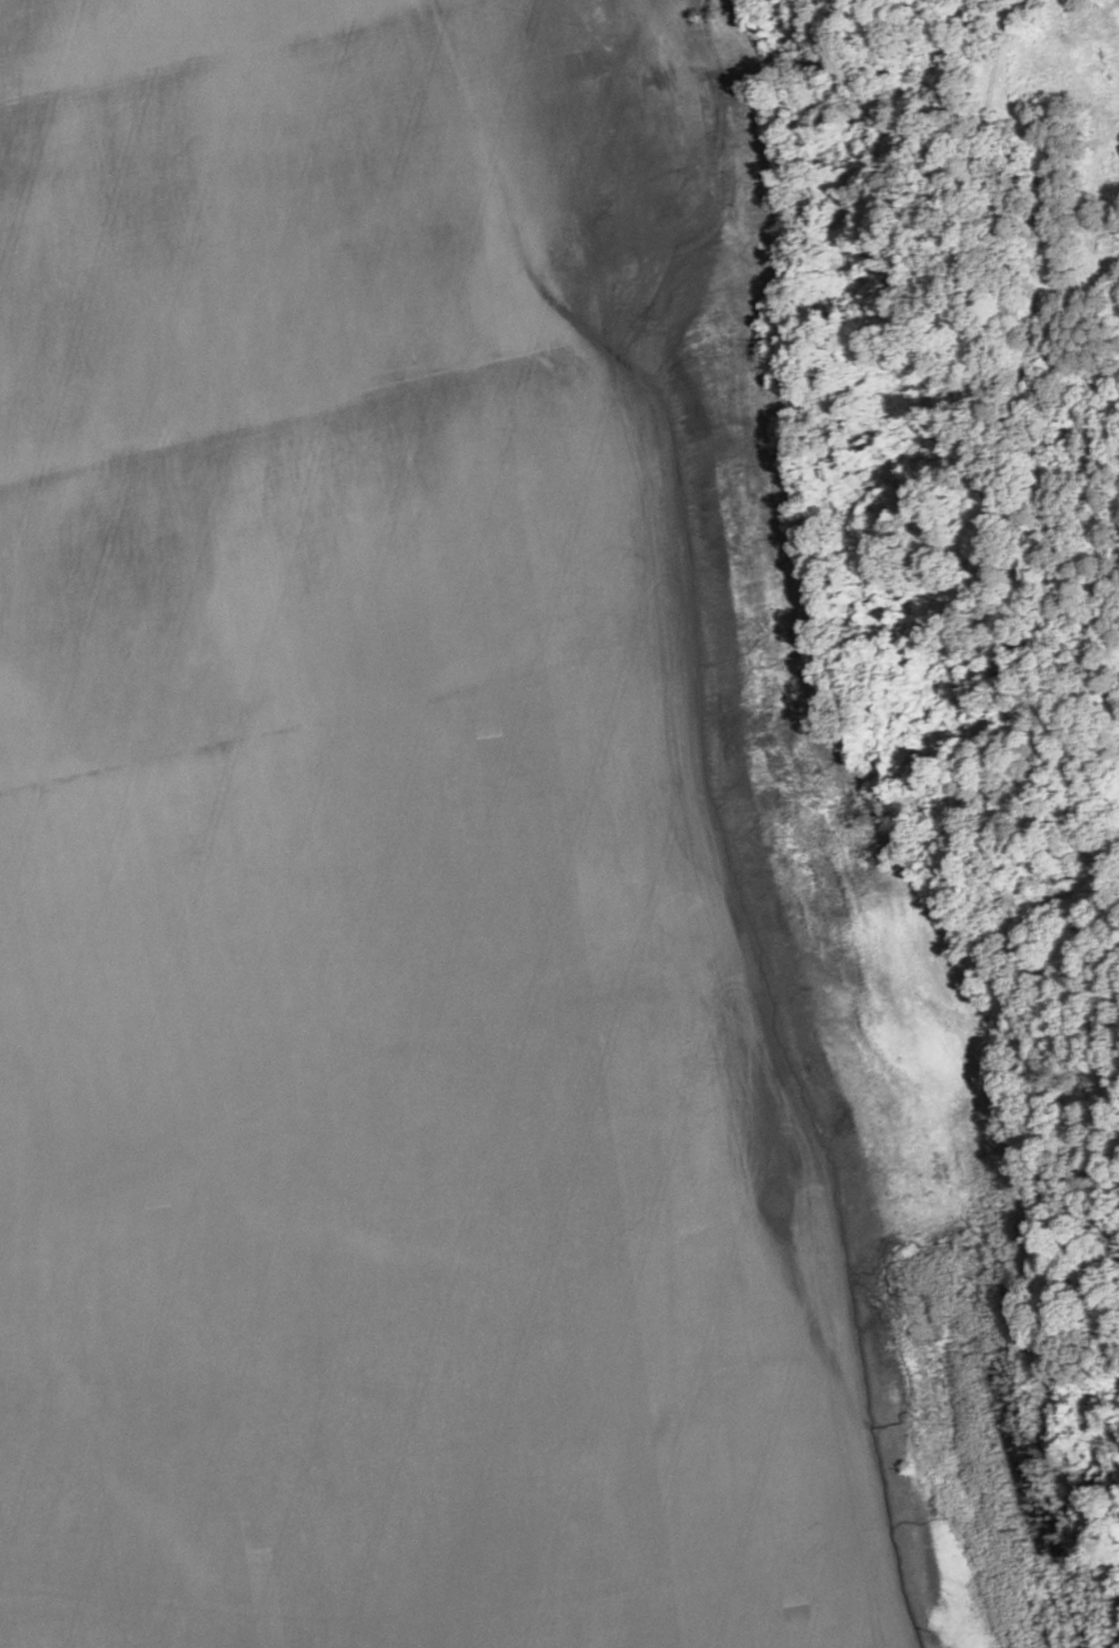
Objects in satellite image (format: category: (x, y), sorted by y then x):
road: (1048, 304)

